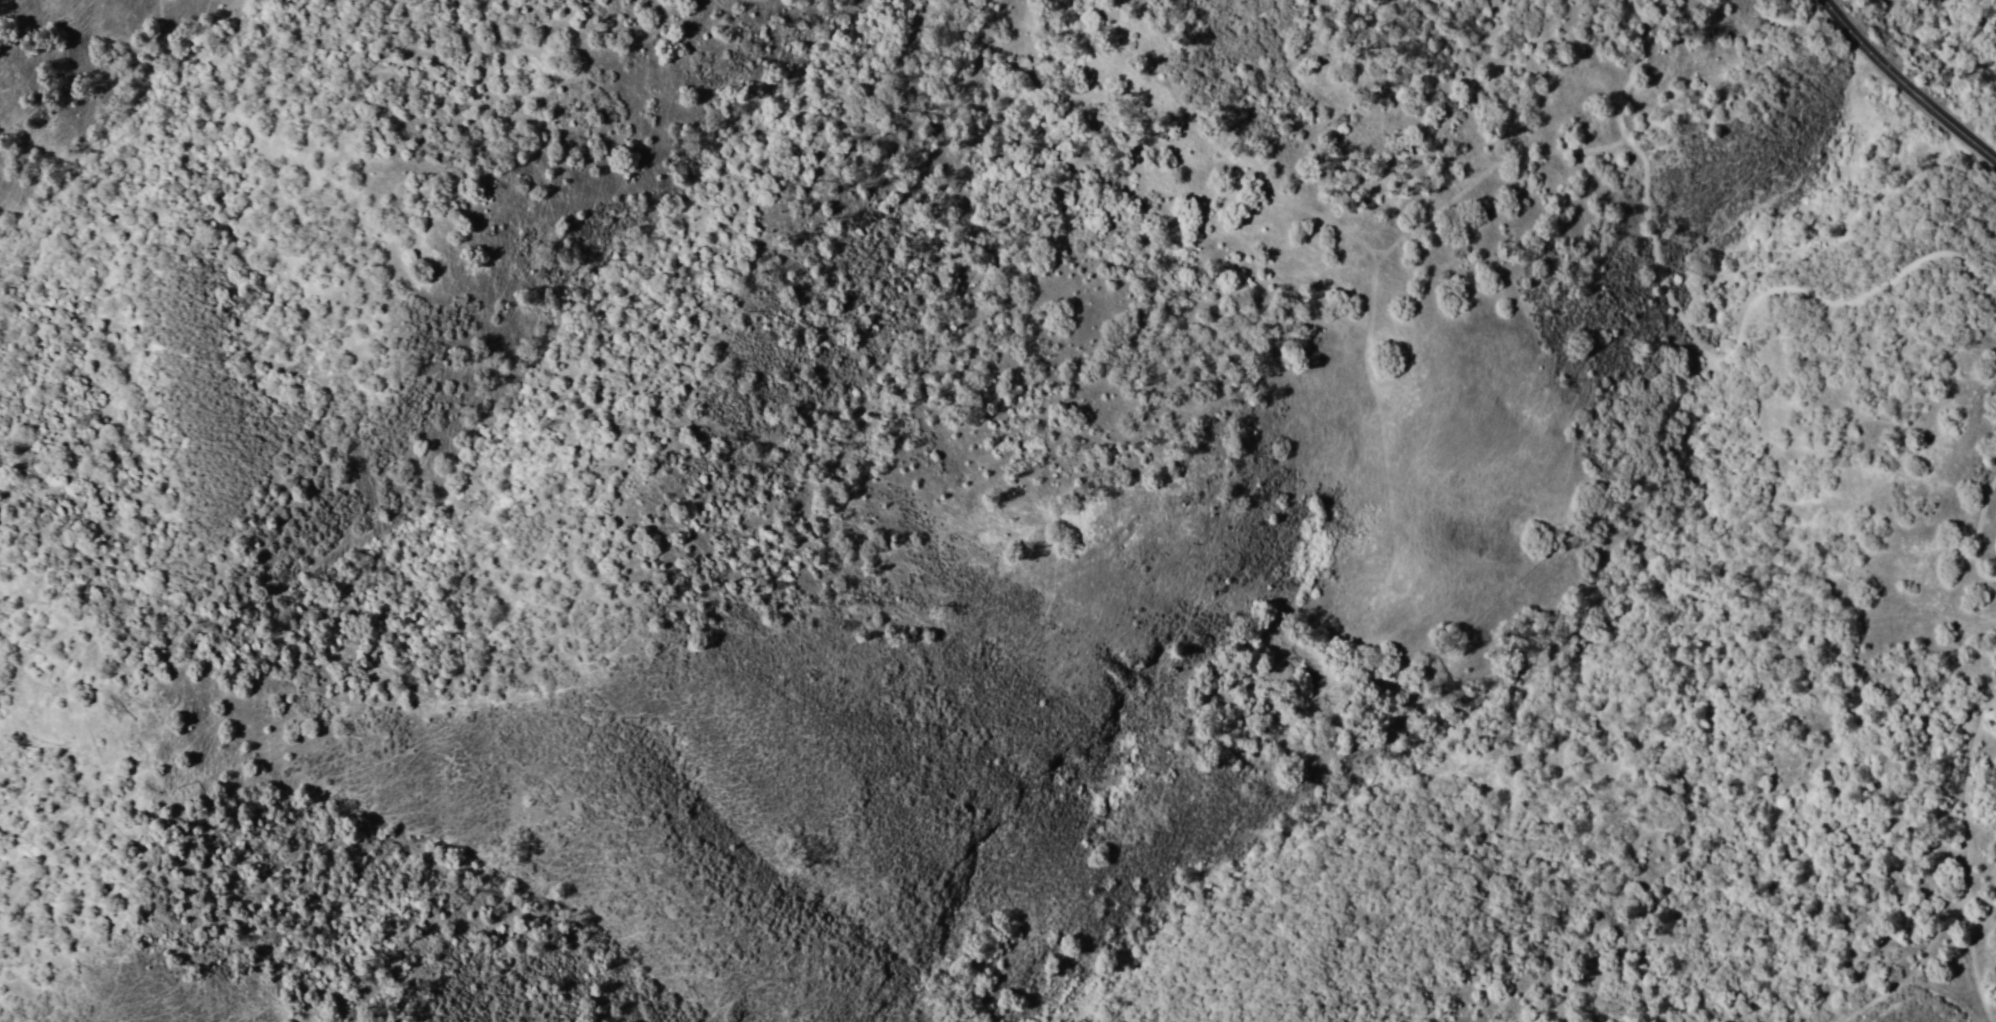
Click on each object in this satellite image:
road: (1793, 32)
road: (1905, 86)

